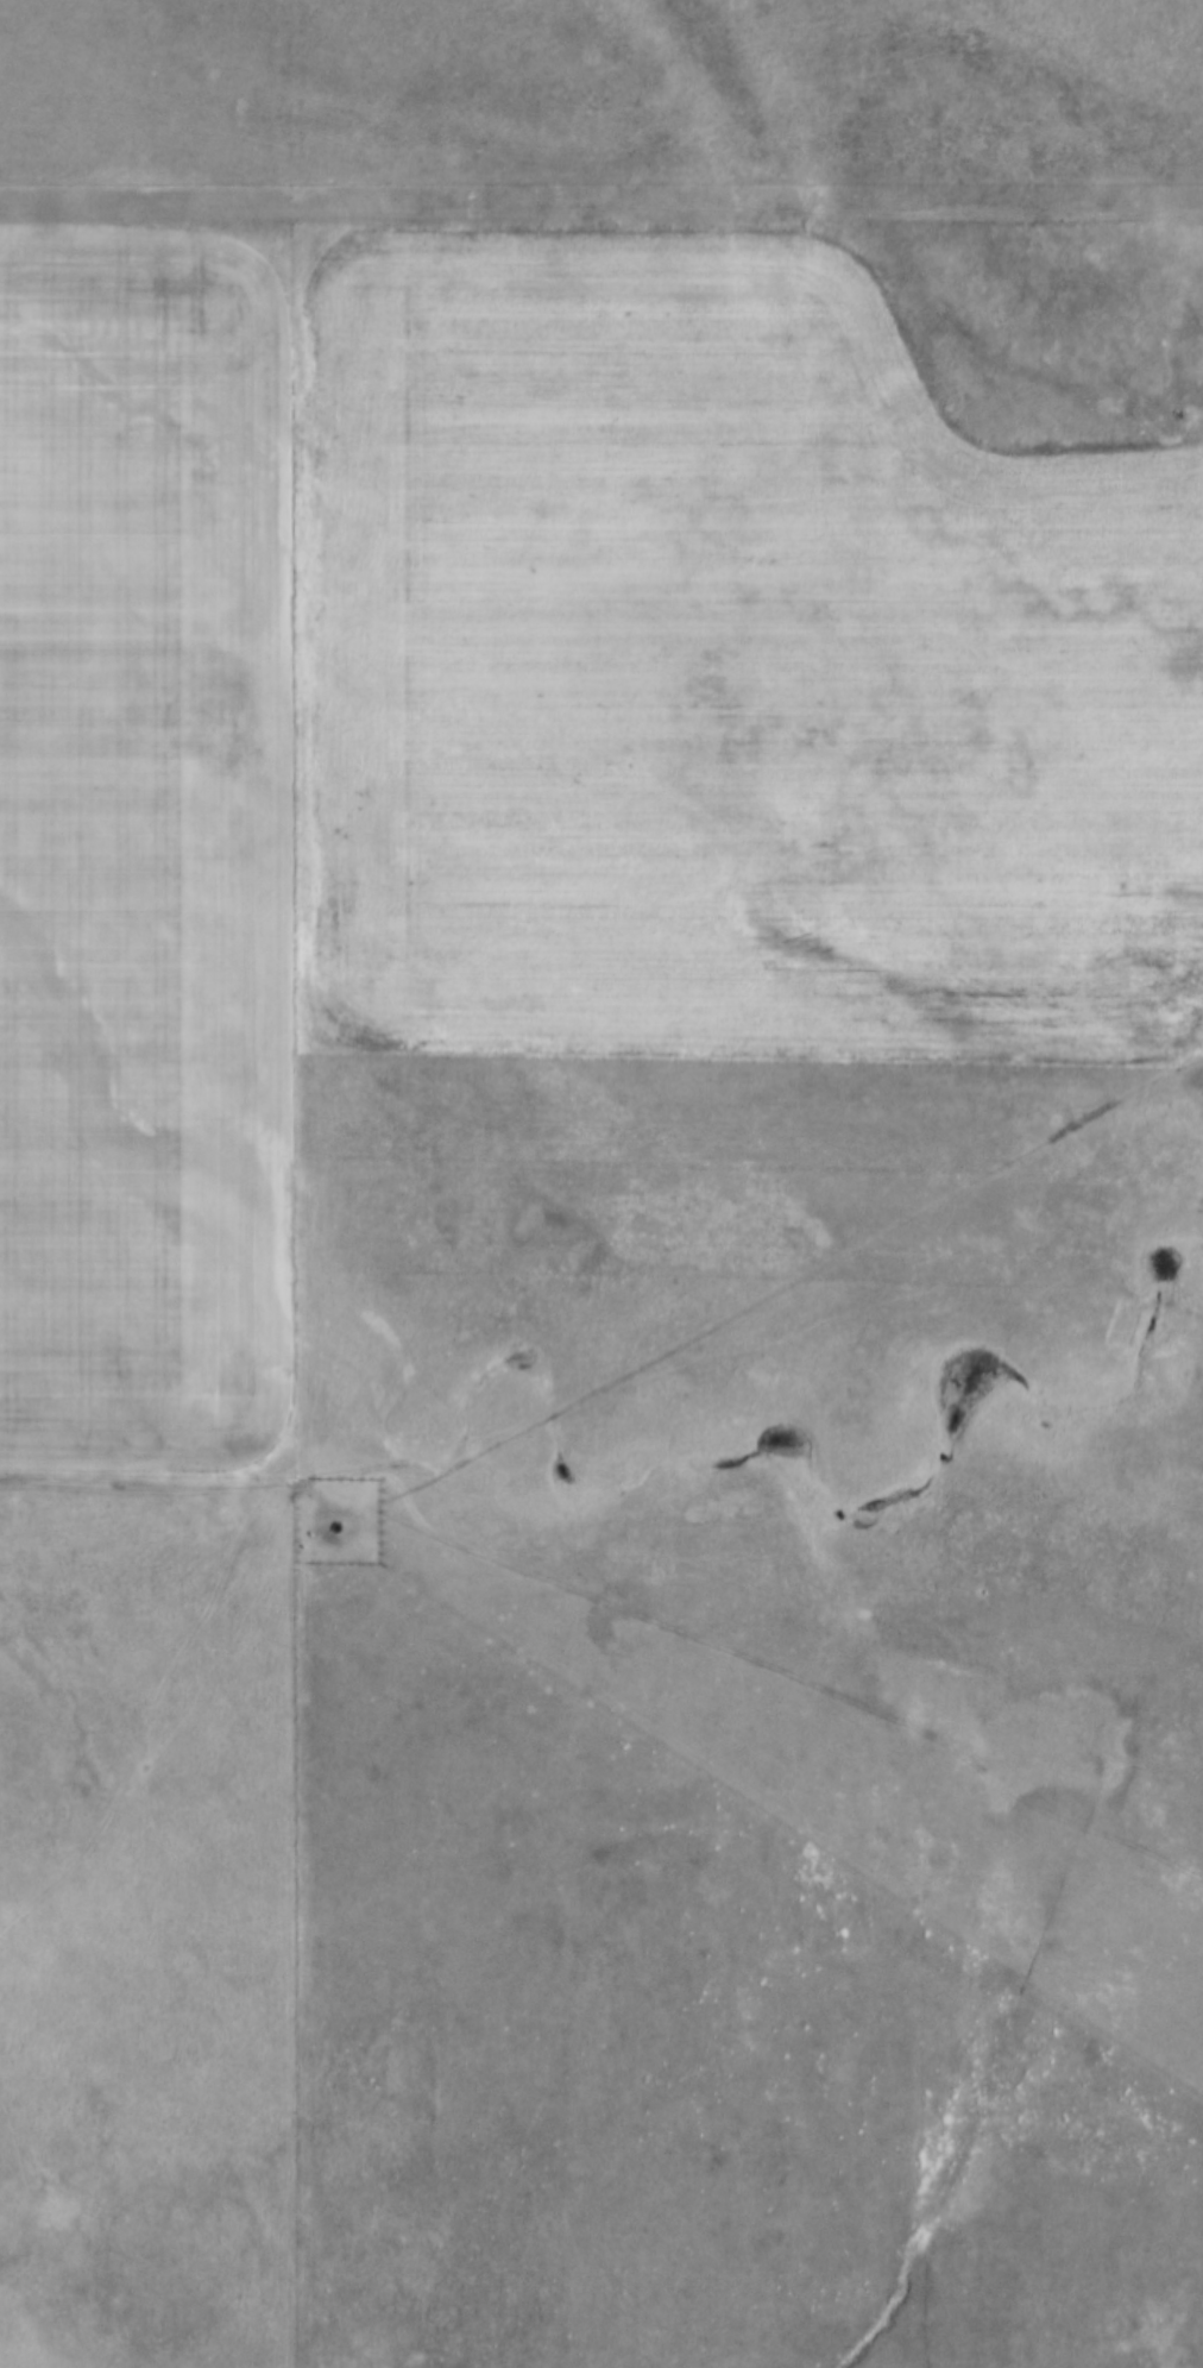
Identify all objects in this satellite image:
road: (600, 220)

